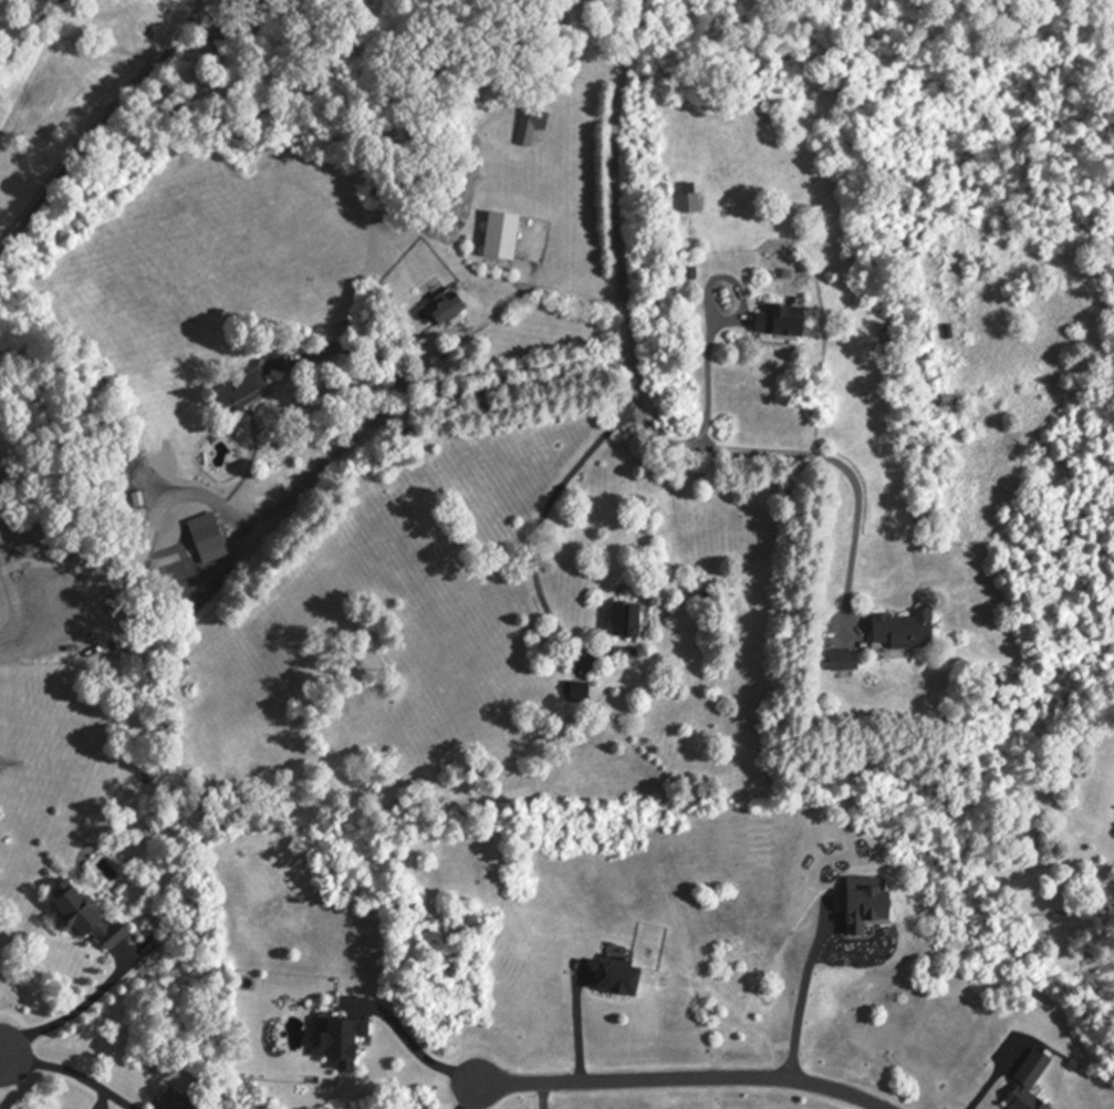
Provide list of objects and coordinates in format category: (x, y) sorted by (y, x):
road: (100, 127)
building: (530, 127)
building: (688, 204)
building: (499, 237)
road: (562, 293)
building: (438, 310)
building: (778, 323)
road: (629, 350)
building: (274, 361)
road: (706, 392)
building: (239, 394)
road: (461, 395)
road: (797, 453)
building: (624, 622)
building: (904, 632)
building: (842, 662)
building: (576, 692)
building: (83, 916)
building: (615, 976)
road: (798, 1004)
road: (67, 1016)
road: (577, 1026)
building: (342, 1040)
road: (419, 1049)
road: (72, 1071)
road: (993, 1077)
road: (678, 1084)
road: (468, 1097)

